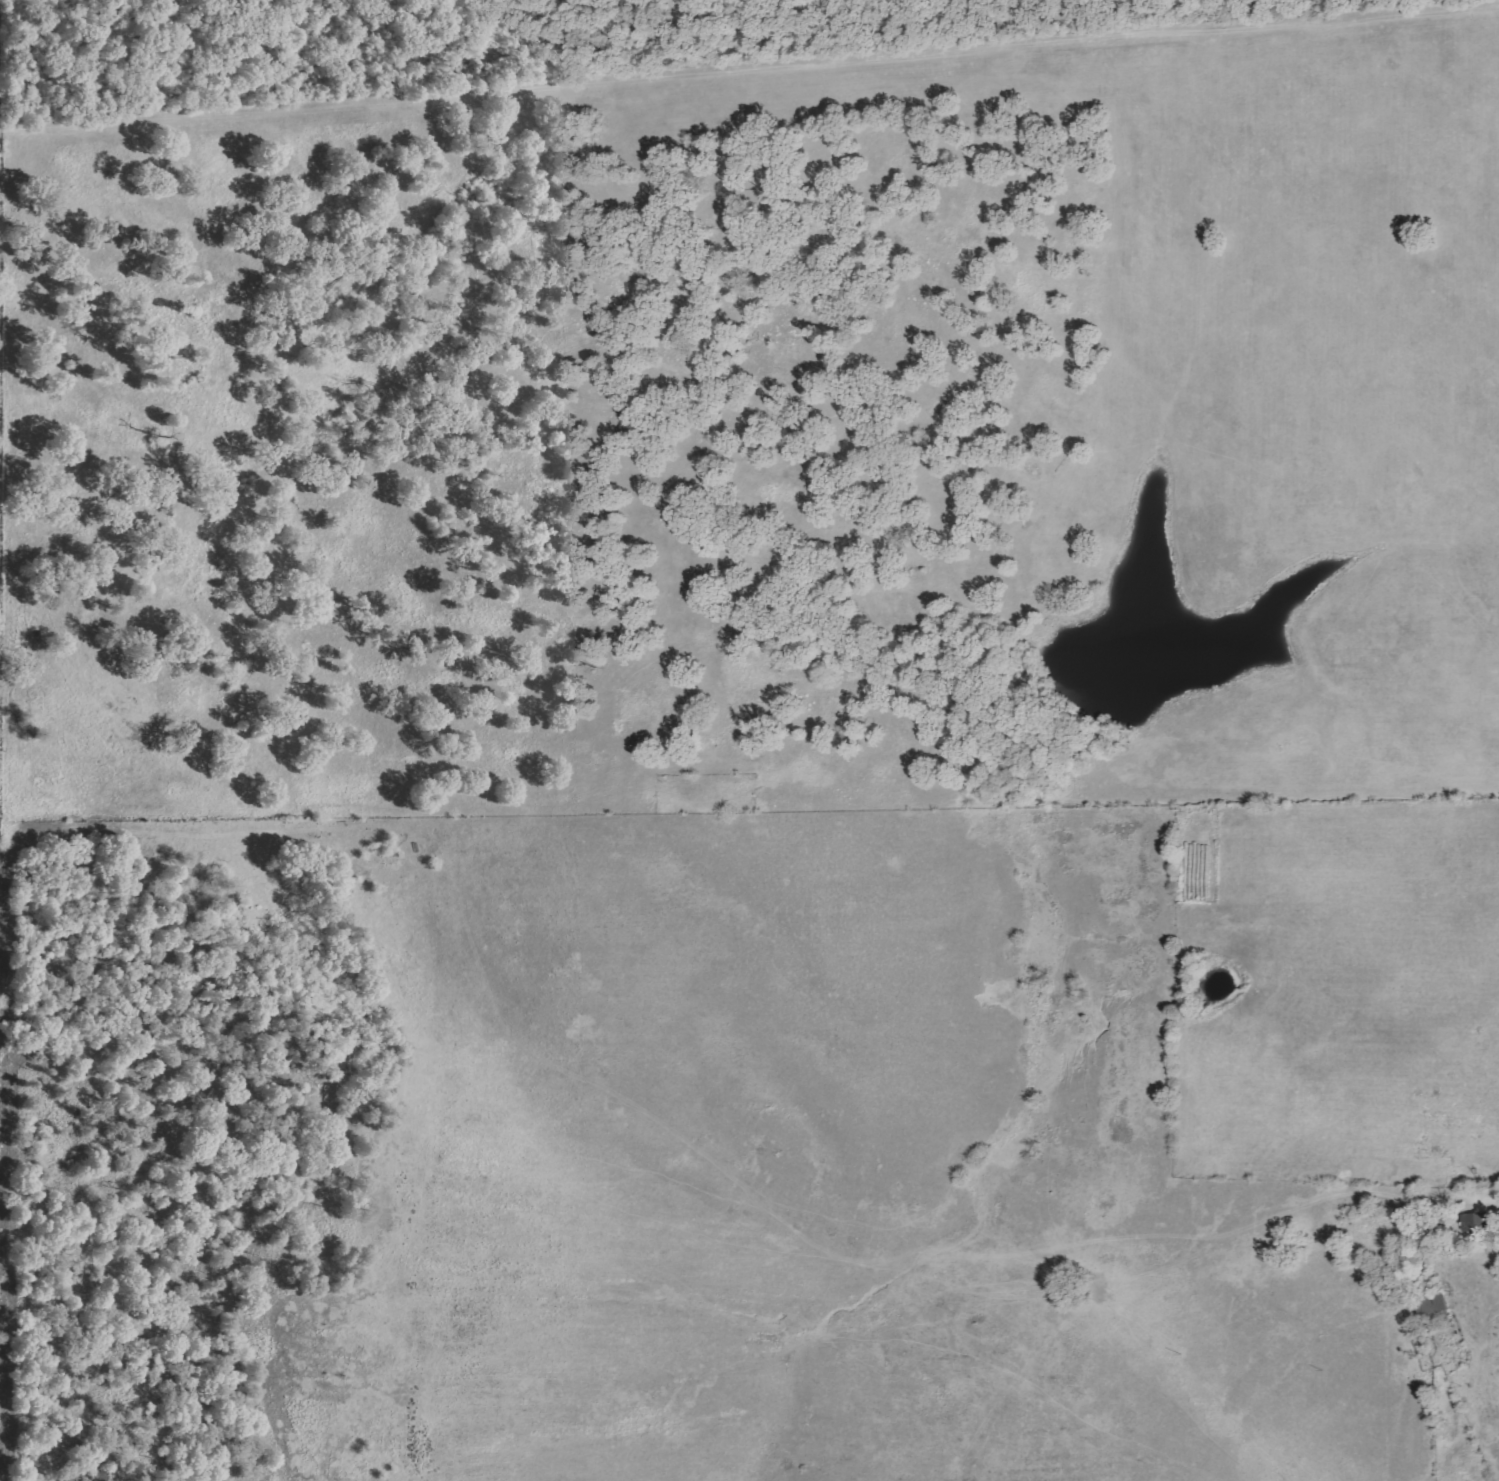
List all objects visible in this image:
building: (1476, 1221)

